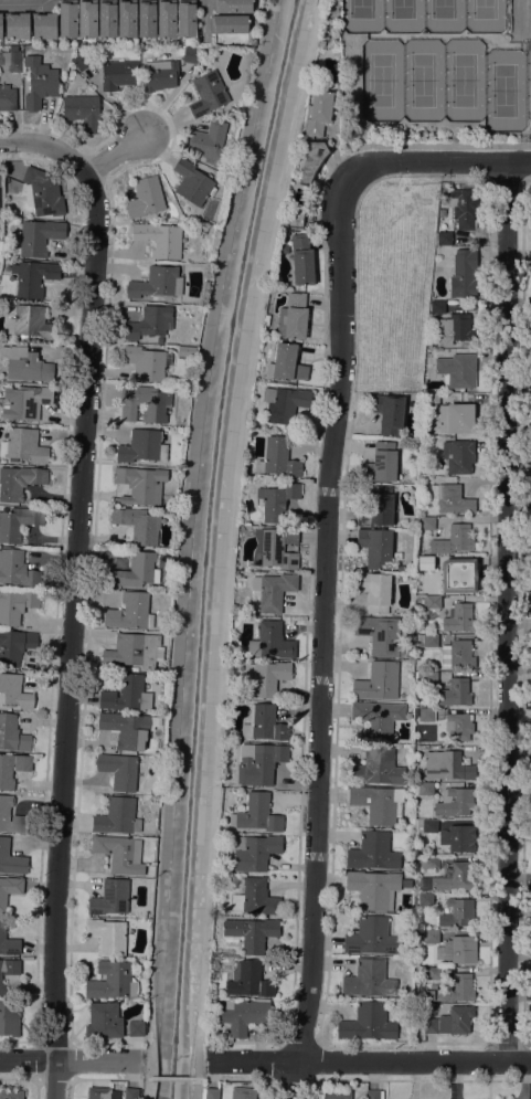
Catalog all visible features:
road: (24, 6)
building: (233, 7)
road: (204, 11)
building: (67, 19)
building: (87, 19)
building: (107, 19)
building: (127, 19)
building: (147, 19)
building: (167, 19)
building: (185, 19)
building: (229, 24)
building: (1, 25)
building: (17, 25)
building: (44, 25)
building: (321, 43)
building: (26, 51)
building: (190, 56)
building: (12, 61)
building: (84, 61)
building: (203, 65)
park: (436, 65)
building: (160, 73)
building: (119, 74)
building: (39, 83)
building: (209, 94)
building: (7, 98)
building: (83, 112)
building: (318, 114)
building: (205, 141)
road: (428, 146)
building: (312, 160)
road: (77, 161)
road: (436, 161)
building: (1, 180)
building: (192, 182)
building: (42, 193)
building: (146, 197)
building: (461, 208)
building: (296, 220)
building: (1, 228)
building: (39, 237)
building: (159, 239)
building: (444, 239)
building: (301, 261)
building: (464, 273)
building: (33, 277)
building: (157, 283)
building: (169, 300)
building: (437, 307)
building: (293, 318)
building: (31, 323)
building: (149, 323)
building: (454, 328)
building: (187, 351)
building: (147, 362)
building: (286, 363)
building: (25, 364)
building: (457, 370)
building: (433, 399)
building: (25, 402)
building: (285, 403)
building: (144, 404)
building: (389, 413)
building: (457, 418)
building: (24, 446)
building: (142, 446)
building: (459, 456)
building: (278, 458)
building: (382, 463)
building: (19, 482)
building: (140, 485)
building: (453, 499)
building: (277, 501)
building: (376, 507)
building: (18, 522)
building: (427, 522)
building: (138, 525)
building: (454, 539)
road: (231, 546)
building: (376, 547)
building: (275, 548)
building: (425, 563)
building: (238, 567)
building: (17, 569)
building: (402, 569)
building: (136, 571)
building: (458, 574)
building: (273, 591)
building: (375, 591)
building: (433, 602)
building: (17, 605)
road: (507, 611)
building: (130, 612)
building: (459, 617)
road: (72, 633)
building: (380, 635)
road: (320, 637)
building: (427, 641)
building: (272, 642)
building: (14, 646)
building: (134, 653)
building: (457, 654)
building: (401, 664)
building: (266, 677)
building: (427, 678)
building: (379, 681)
building: (14, 691)
building: (128, 694)
building: (455, 694)
building: (426, 715)
building: (378, 719)
building: (264, 725)
building: (459, 727)
building: (128, 729)
building: (12, 735)
building: (261, 765)
building: (449, 767)
building: (378, 768)
building: (12, 769)
building: (119, 770)
building: (423, 789)
building: (453, 803)
building: (378, 804)
building: (257, 814)
building: (11, 817)
building: (117, 817)
building: (417, 823)
building: (429, 826)
building: (456, 838)
building: (373, 852)
building: (254, 853)
building: (120, 854)
building: (11, 859)
building: (429, 863)
building: (448, 878)
building: (406, 884)
building: (373, 888)
building: (9, 890)
building: (110, 898)
building: (256, 898)
building: (423, 900)
building: (457, 912)
building: (251, 933)
building: (107, 937)
building: (371, 937)
building: (432, 937)
building: (8, 942)
building: (457, 950)
building: (9, 970)
building: (433, 974)
building: (369, 979)
building: (113, 980)
building: (248, 981)
building: (457, 987)
building: (434, 993)
building: (244, 1016)
building: (9, 1018)
building: (104, 1022)
building: (368, 1023)
building: (449, 1024)
building: (136, 1029)
road: (105, 1040)
road: (55, 1042)
road: (247, 1042)
road: (300, 1045)
road: (65, 1059)
road: (130, 1060)
road: (371, 1060)
road: (212, 1063)
road: (54, 1078)
road: (103, 1078)
road: (172, 1078)
road: (242, 1079)
road: (290, 1079)
building: (102, 1093)
building: (130, 1093)
building: (210, 1093)
building: (243, 1093)
building: (10, 1095)
building: (337, 1095)
building: (373, 1095)

